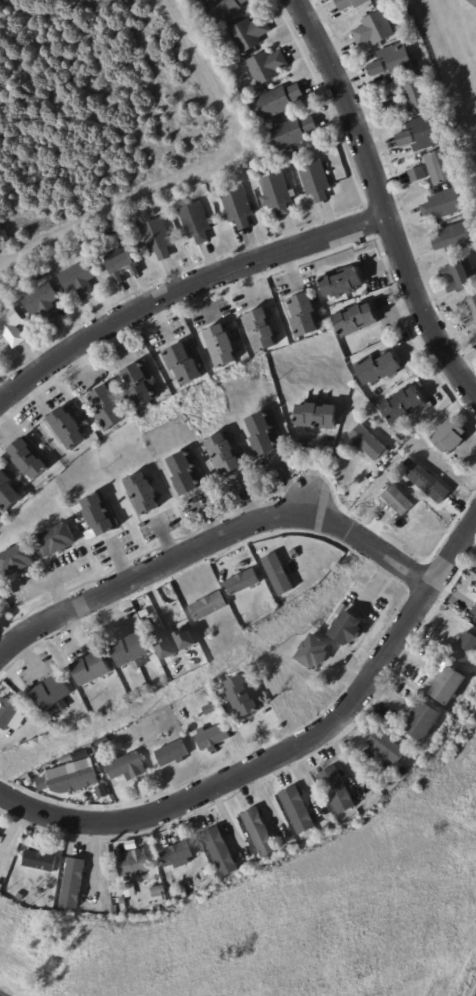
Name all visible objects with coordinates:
building: (373, 1)
building: (472, 2)
building: (350, 3)
building: (224, 8)
building: (375, 29)
building: (251, 33)
building: (398, 59)
building: (268, 65)
building: (378, 68)
building: (417, 93)
building: (280, 99)
building: (392, 102)
building: (294, 131)
building: (427, 132)
building: (405, 138)
building: (443, 165)
building: (419, 173)
building: (316, 180)
building: (277, 194)
road: (376, 197)
building: (447, 204)
building: (239, 206)
building: (196, 221)
building: (456, 237)
building: (158, 238)
building: (89, 242)
building: (359, 244)
building: (123, 266)
building: (461, 275)
building: (80, 279)
building: (344, 283)
road: (180, 285)
building: (44, 301)
building: (469, 304)
building: (304, 315)
building: (357, 320)
building: (471, 322)
building: (12, 326)
building: (262, 330)
building: (222, 346)
building: (184, 364)
building: (380, 366)
building: (142, 383)
building: (406, 406)
building: (108, 408)
building: (317, 416)
building: (68, 428)
building: (265, 433)
building: (450, 436)
building: (367, 441)
building: (224, 455)
building: (30, 458)
building: (187, 472)
building: (427, 483)
building: (8, 492)
building: (143, 494)
building: (100, 515)
building: (58, 540)
road: (215, 542)
building: (18, 560)
building: (277, 573)
building: (241, 580)
building: (208, 604)
building: (474, 610)
building: (1, 614)
building: (347, 628)
building: (464, 646)
building: (133, 651)
building: (315, 651)
building: (94, 670)
building: (449, 684)
building: (55, 694)
building: (245, 695)
building: (207, 706)
building: (8, 711)
building: (425, 721)
building: (212, 734)
building: (102, 741)
building: (386, 746)
building: (96, 749)
road: (286, 751)
building: (173, 753)
building: (73, 754)
building: (128, 767)
building: (71, 776)
building: (337, 789)
building: (299, 808)
building: (189, 827)
building: (261, 831)
building: (34, 841)
building: (222, 850)
building: (178, 854)
building: (41, 861)
building: (133, 863)
building: (208, 872)
building: (74, 881)
building: (11, 888)
building: (130, 890)
building: (161, 892)
building: (43, 898)
building: (123, 900)
building: (115, 909)

